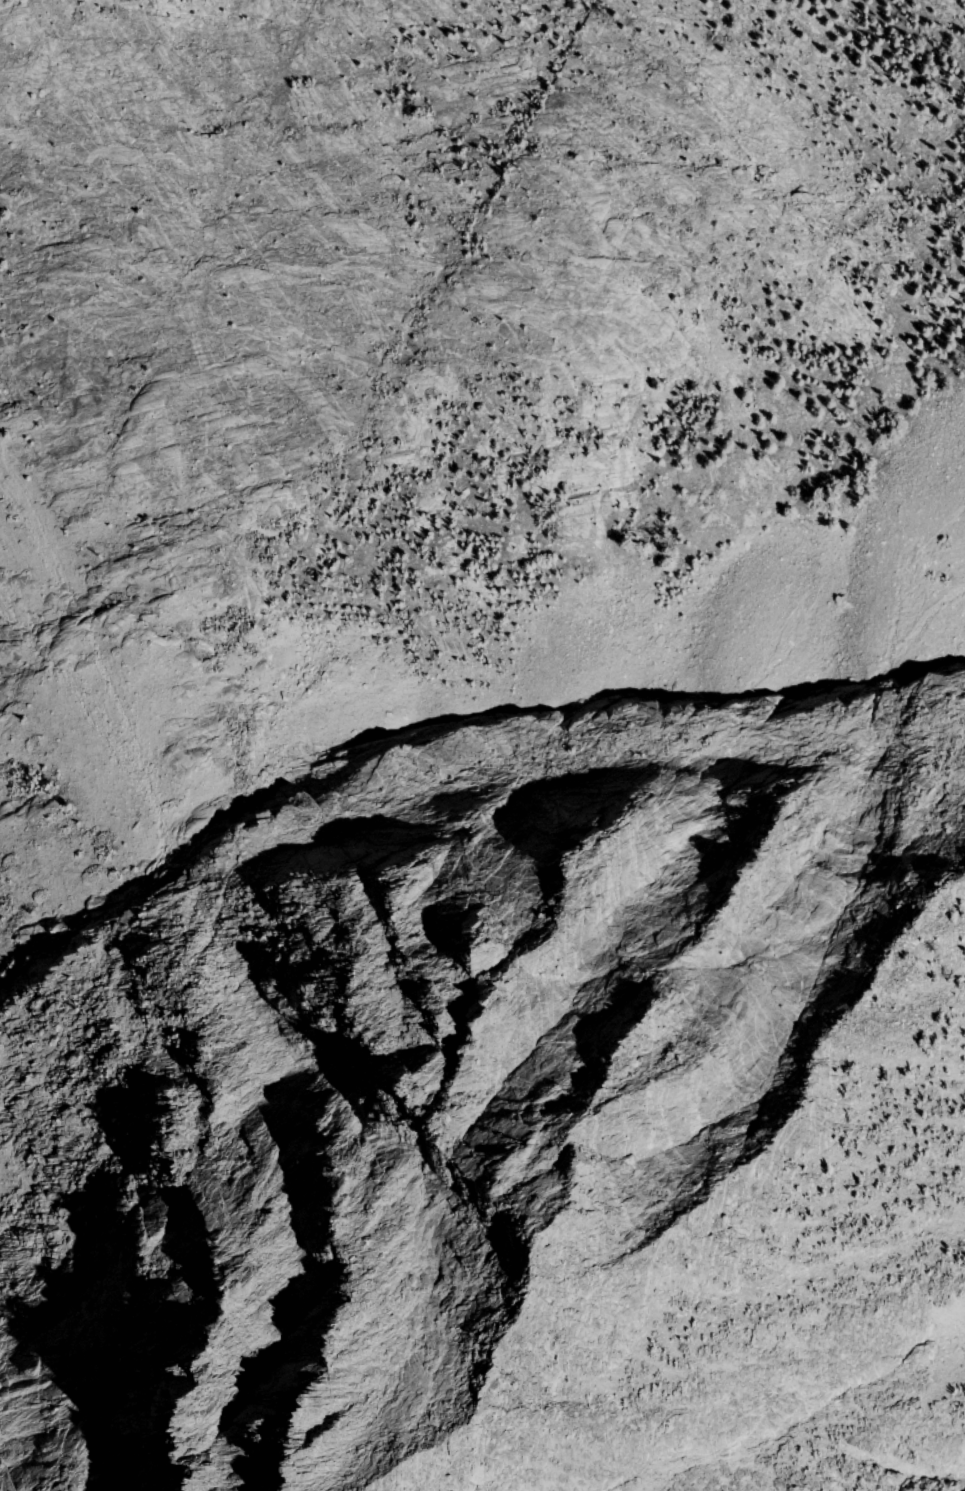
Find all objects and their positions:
road: (4, 4)
road: (871, 65)

